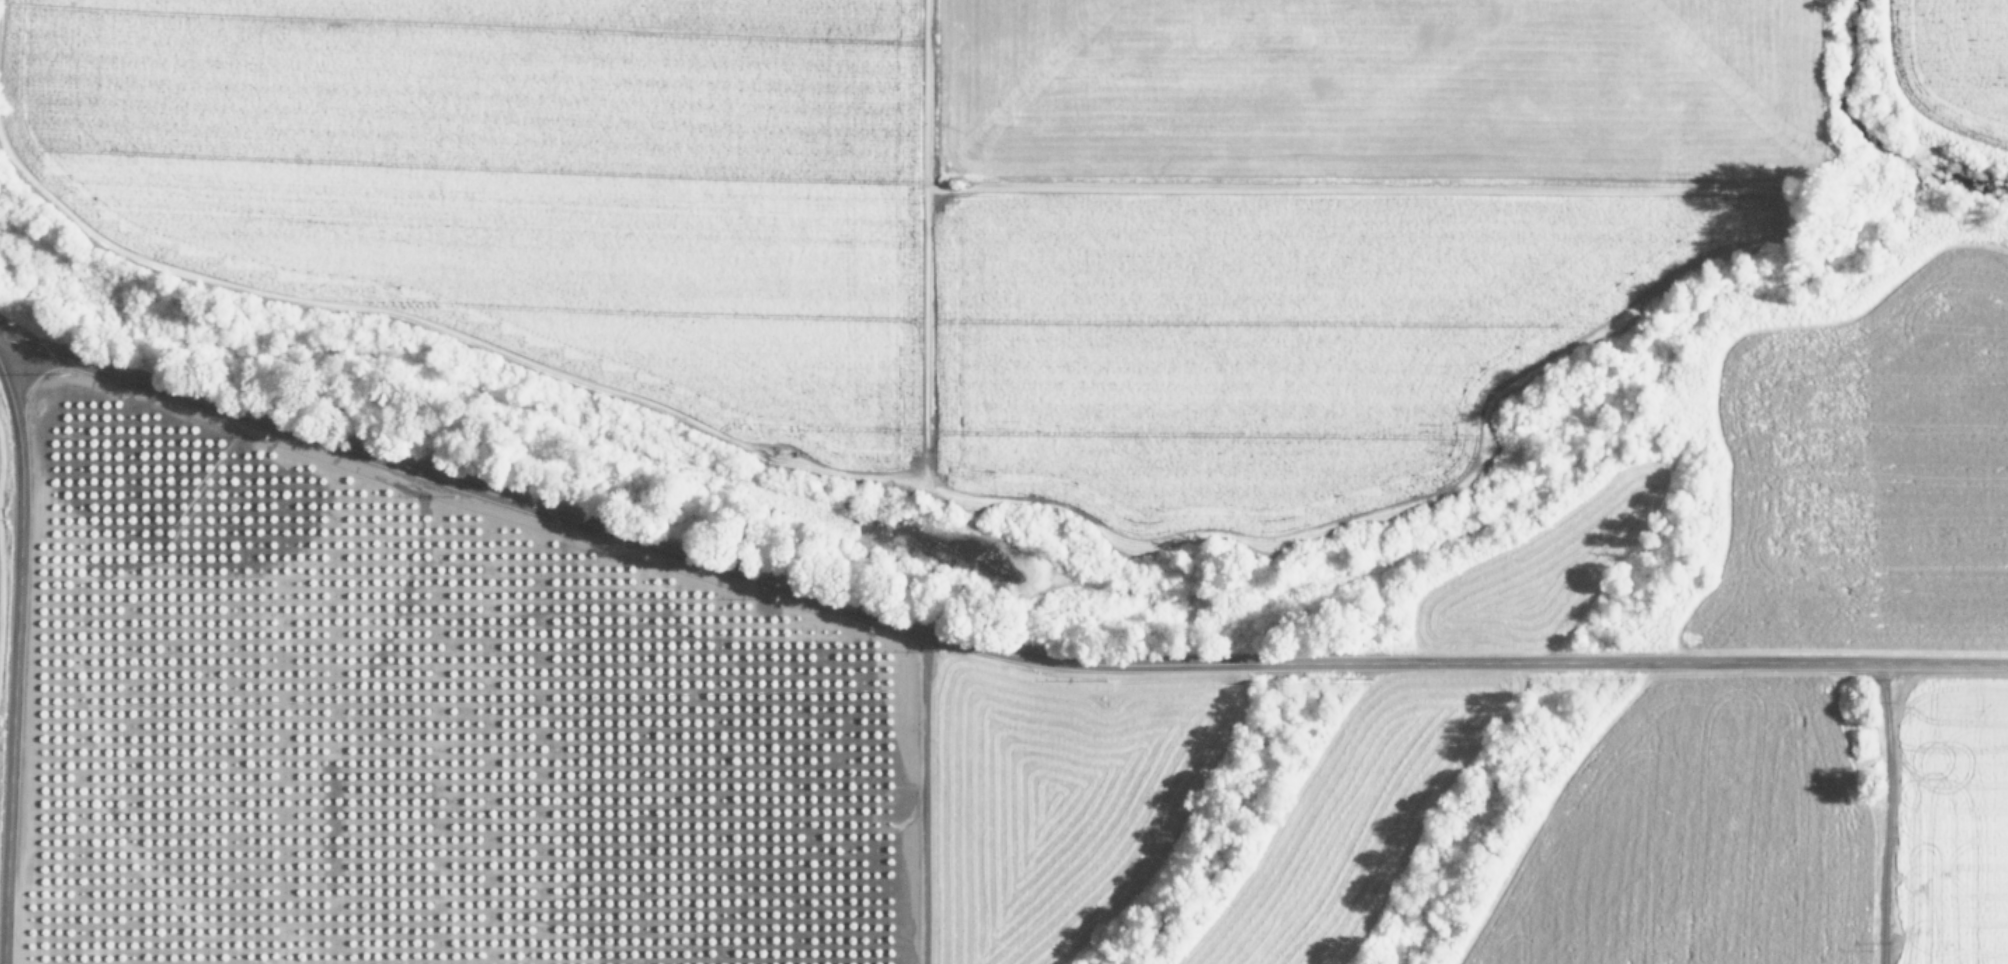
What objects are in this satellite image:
crop: (1959, 72)
crop: (952, 212)
road: (980, 645)
road: (15, 663)
crop: (1806, 680)
crop: (489, 715)
crop: (1402, 749)
road: (925, 797)
road: (1890, 812)

